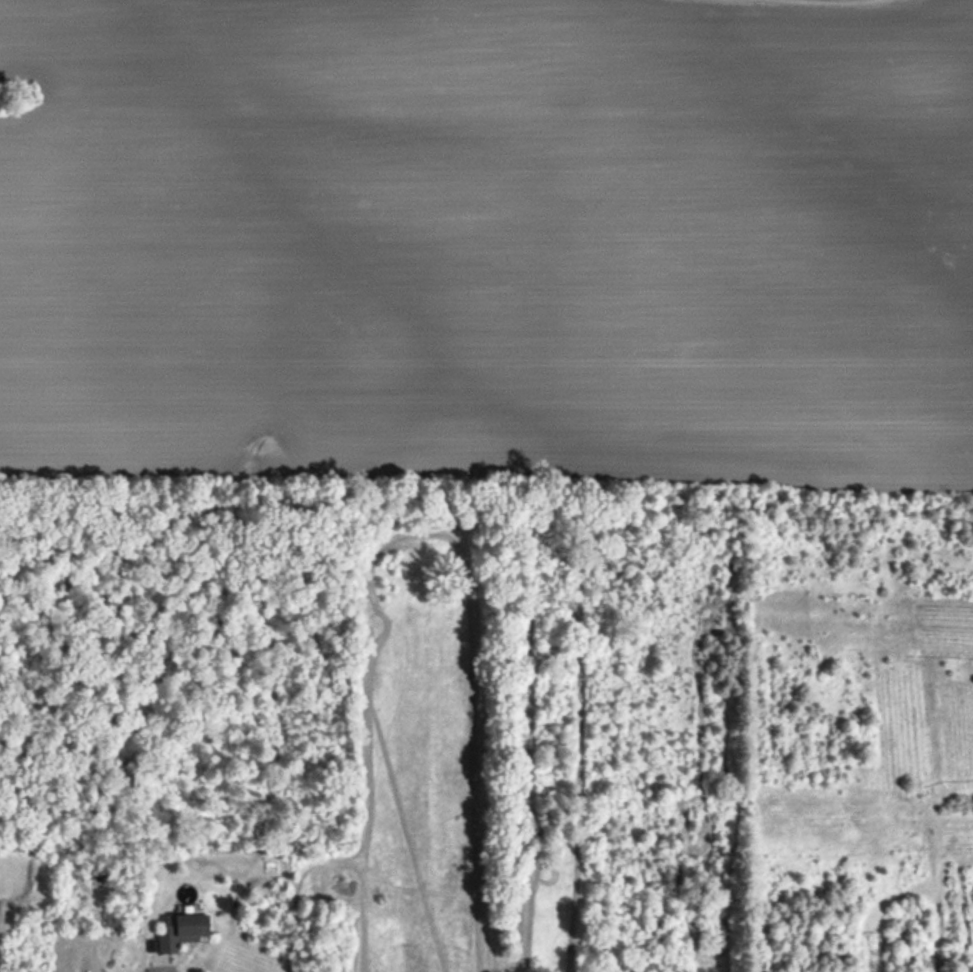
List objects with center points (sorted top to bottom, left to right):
building: (182, 931)

